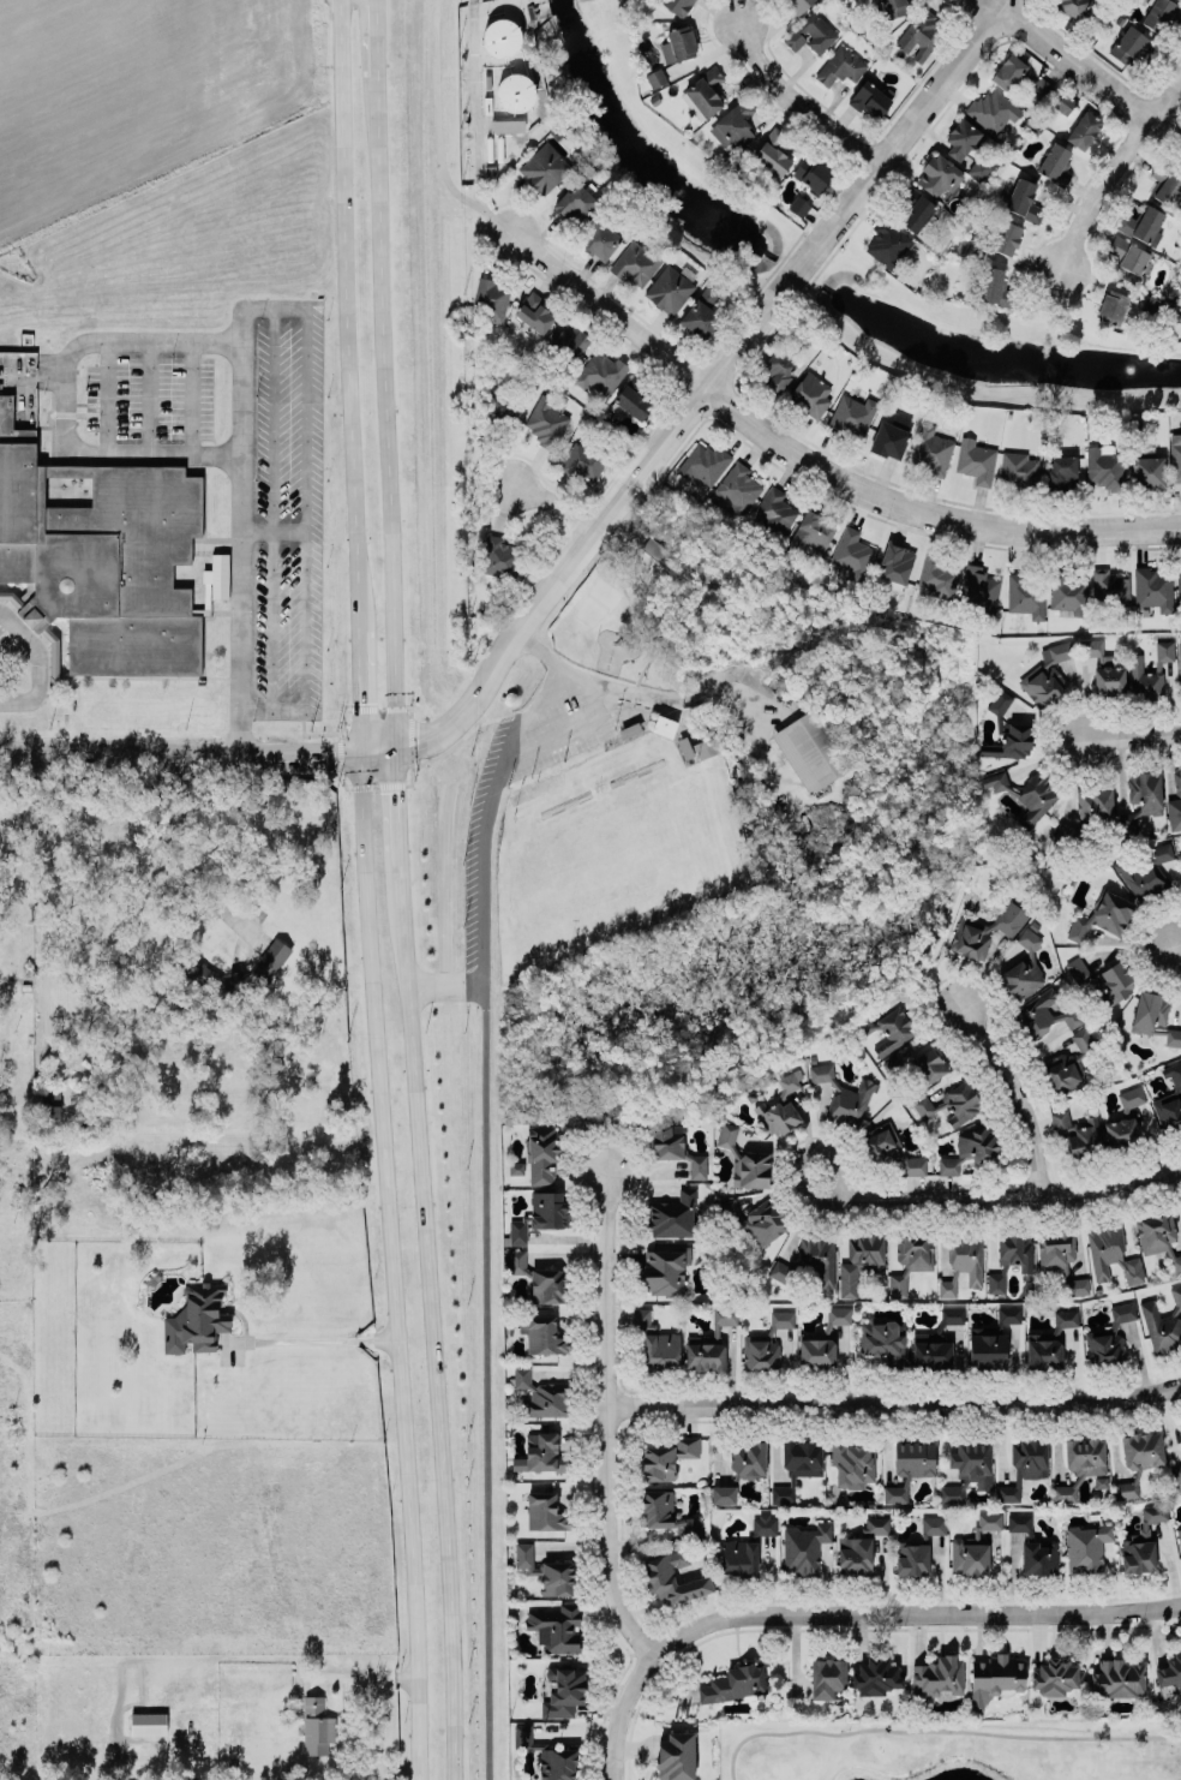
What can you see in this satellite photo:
building: (798, 4)
building: (677, 6)
building: (894, 7)
building: (1074, 7)
road: (978, 8)
building: (1161, 13)
building: (813, 32)
building: (921, 34)
road: (377, 37)
building: (500, 37)
building: (678, 44)
building: (1133, 46)
building: (840, 66)
building: (1009, 71)
road: (1091, 71)
building: (655, 77)
building: (1041, 88)
building: (515, 91)
building: (707, 91)
building: (870, 97)
road: (798, 100)
building: (1065, 103)
building: (993, 110)
building: (733, 124)
building: (506, 125)
building: (1085, 129)
road: (439, 132)
building: (964, 138)
building: (774, 151)
building: (1055, 162)
building: (545, 167)
road: (1109, 169)
building: (814, 173)
building: (940, 174)
building: (1167, 186)
building: (571, 197)
building: (1024, 198)
building: (798, 205)
building: (915, 208)
building: (1144, 225)
building: (1006, 237)
building: (599, 240)
building: (888, 244)
building: (1128, 258)
building: (637, 262)
building: (994, 285)
building: (670, 287)
building: (491, 298)
building: (1113, 306)
road: (282, 309)
building: (534, 312)
building: (702, 312)
road: (348, 313)
building: (571, 341)
building: (777, 369)
road: (322, 370)
building: (601, 371)
road: (706, 384)
building: (810, 394)
building: (630, 398)
road: (65, 400)
building: (503, 406)
road: (389, 413)
building: (852, 413)
building: (546, 420)
building: (891, 436)
building: (931, 450)
building: (1175, 455)
building: (583, 460)
building: (975, 460)
building: (703, 462)
road: (814, 462)
building: (1104, 466)
building: (1017, 468)
building: (1147, 471)
building: (1061, 473)
building: (735, 490)
road: (553, 502)
building: (774, 509)
building: (814, 530)
building: (655, 549)
building: (851, 555)
building: (98, 556)
building: (498, 556)
building: (895, 557)
building: (937, 575)
building: (1110, 586)
building: (1152, 587)
building: (981, 589)
building: (1066, 591)
building: (1024, 595)
park: (597, 603)
road: (637, 611)
building: (1164, 650)
building: (1093, 651)
road: (547, 655)
road: (38, 663)
building: (1180, 664)
building: (1047, 673)
building: (1109, 679)
building: (1144, 680)
road: (560, 686)
road: (360, 691)
road: (729, 698)
building: (999, 701)
road: (527, 712)
building: (664, 725)
road: (1131, 734)
building: (1009, 741)
building: (706, 747)
building: (685, 748)
building: (810, 751)
road: (198, 755)
park: (641, 767)
road: (488, 790)
building: (1145, 792)
building: (1027, 794)
building: (1175, 802)
building: (1093, 804)
road: (398, 806)
building: (1128, 824)
building: (1066, 835)
road: (364, 836)
road: (185, 837)
park: (621, 866)
building: (1146, 871)
road: (40, 903)
building: (1102, 915)
building: (987, 928)
road: (1173, 944)
building: (1023, 967)
building: (234, 968)
building: (1103, 979)
road: (443, 984)
building: (1153, 1014)
building: (1043, 1015)
building: (886, 1028)
building: (1068, 1063)
building: (917, 1065)
road: (1024, 1089)
building: (843, 1092)
building: (1131, 1097)
building: (1169, 1100)
building: (49, 1101)
building: (779, 1104)
building: (949, 1104)
building: (1121, 1131)
building: (1077, 1134)
building: (727, 1135)
building: (675, 1145)
building: (970, 1149)
building: (889, 1151)
building: (541, 1152)
road: (803, 1154)
building: (750, 1166)
building: (515, 1167)
road: (1011, 1195)
building: (540, 1208)
building: (671, 1213)
building: (753, 1218)
building: (1157, 1234)
building: (1104, 1249)
building: (1060, 1256)
building: (910, 1258)
building: (810, 1260)
building: (516, 1261)
building: (859, 1261)
building: (961, 1261)
building: (664, 1267)
building: (1132, 1270)
building: (547, 1285)
building: (952, 1314)
building: (1008, 1314)
building: (196, 1318)
building: (641, 1318)
road: (432, 1320)
building: (1163, 1322)
building: (541, 1332)
building: (1109, 1337)
road: (318, 1339)
building: (822, 1340)
building: (881, 1340)
building: (708, 1342)
building: (1048, 1342)
building: (765, 1344)
building: (987, 1345)
building: (661, 1348)
road: (396, 1349)
building: (930, 1350)
road: (484, 1376)
building: (521, 1376)
building: (546, 1399)
road: (894, 1402)
road: (606, 1418)
building: (1180, 1421)
building: (1180, 1427)
building: (1139, 1445)
building: (1083, 1449)
building: (536, 1451)
building: (798, 1451)
building: (912, 1456)
building: (665, 1457)
building: (748, 1459)
building: (851, 1462)
building: (972, 1463)
building: (1024, 1464)
building: (1177, 1473)
building: (1099, 1481)
building: (1125, 1485)
building: (1066, 1489)
building: (723, 1494)
building: (783, 1494)
building: (893, 1494)
building: (951, 1494)
building: (658, 1506)
building: (544, 1510)
building: (763, 1524)
building: (933, 1524)
building: (875, 1525)
building: (691, 1528)
building: (1179, 1534)
building: (1141, 1541)
building: (1033, 1546)
building: (803, 1547)
building: (973, 1547)
building: (1085, 1547)
building: (739, 1554)
building: (855, 1554)
building: (524, 1555)
building: (911, 1558)
building: (556, 1576)
building: (672, 1578)
road: (913, 1611)
building: (557, 1625)
building: (873, 1668)
building: (1169, 1671)
building: (995, 1674)
building: (1055, 1674)
building: (1117, 1676)
building: (826, 1677)
building: (937, 1677)
building: (735, 1683)
building: (563, 1691)
road: (628, 1696)
building: (148, 1722)
building: (316, 1726)
road: (937, 1730)
park: (949, 1748)
building: (547, 1752)
building: (675, 1754)
road: (615, 1764)

